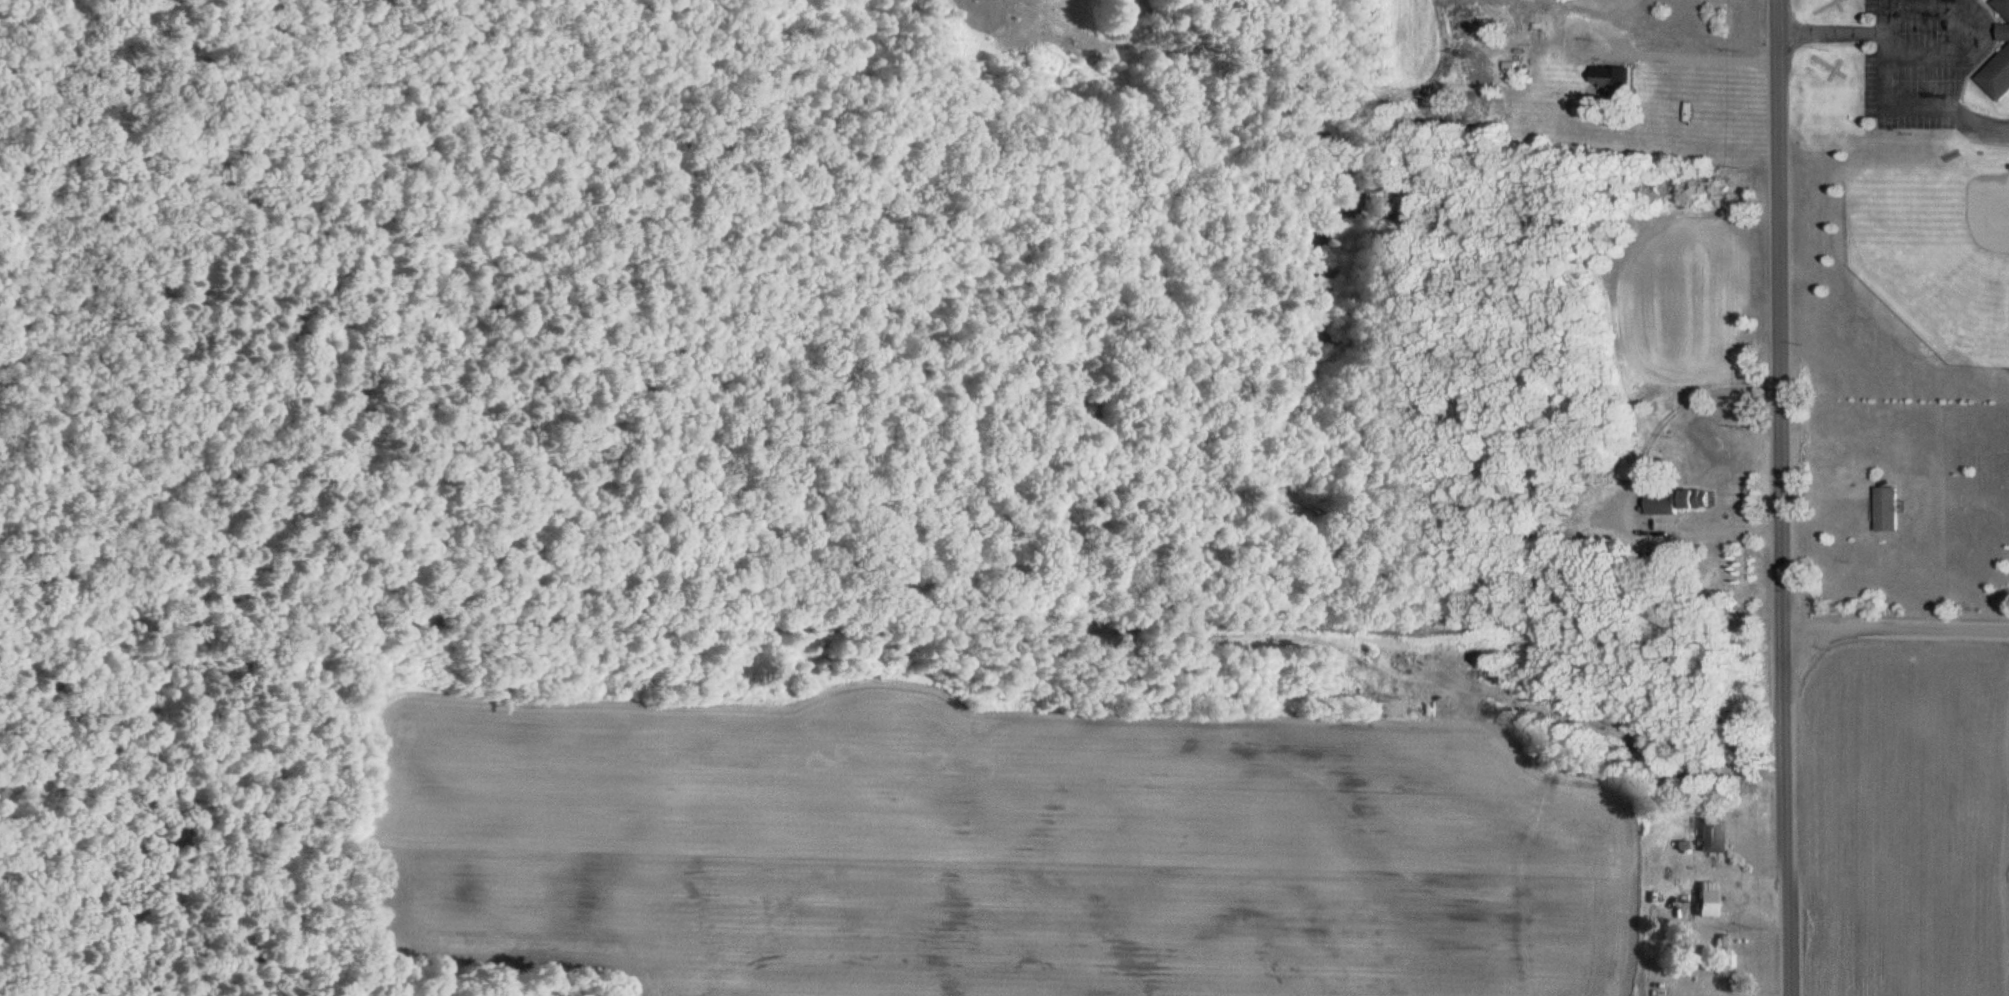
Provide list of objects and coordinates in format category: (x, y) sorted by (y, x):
building: (2003, 7)
road: (1938, 10)
building: (2005, 35)
road: (1599, 55)
building: (1615, 80)
building: (1998, 80)
road: (1926, 106)
road: (1769, 498)
building: (1679, 504)
building: (1889, 513)
road: (1711, 534)
building: (1546, 544)
road: (1889, 614)
building: (1708, 838)
building: (1704, 906)
building: (1722, 957)

